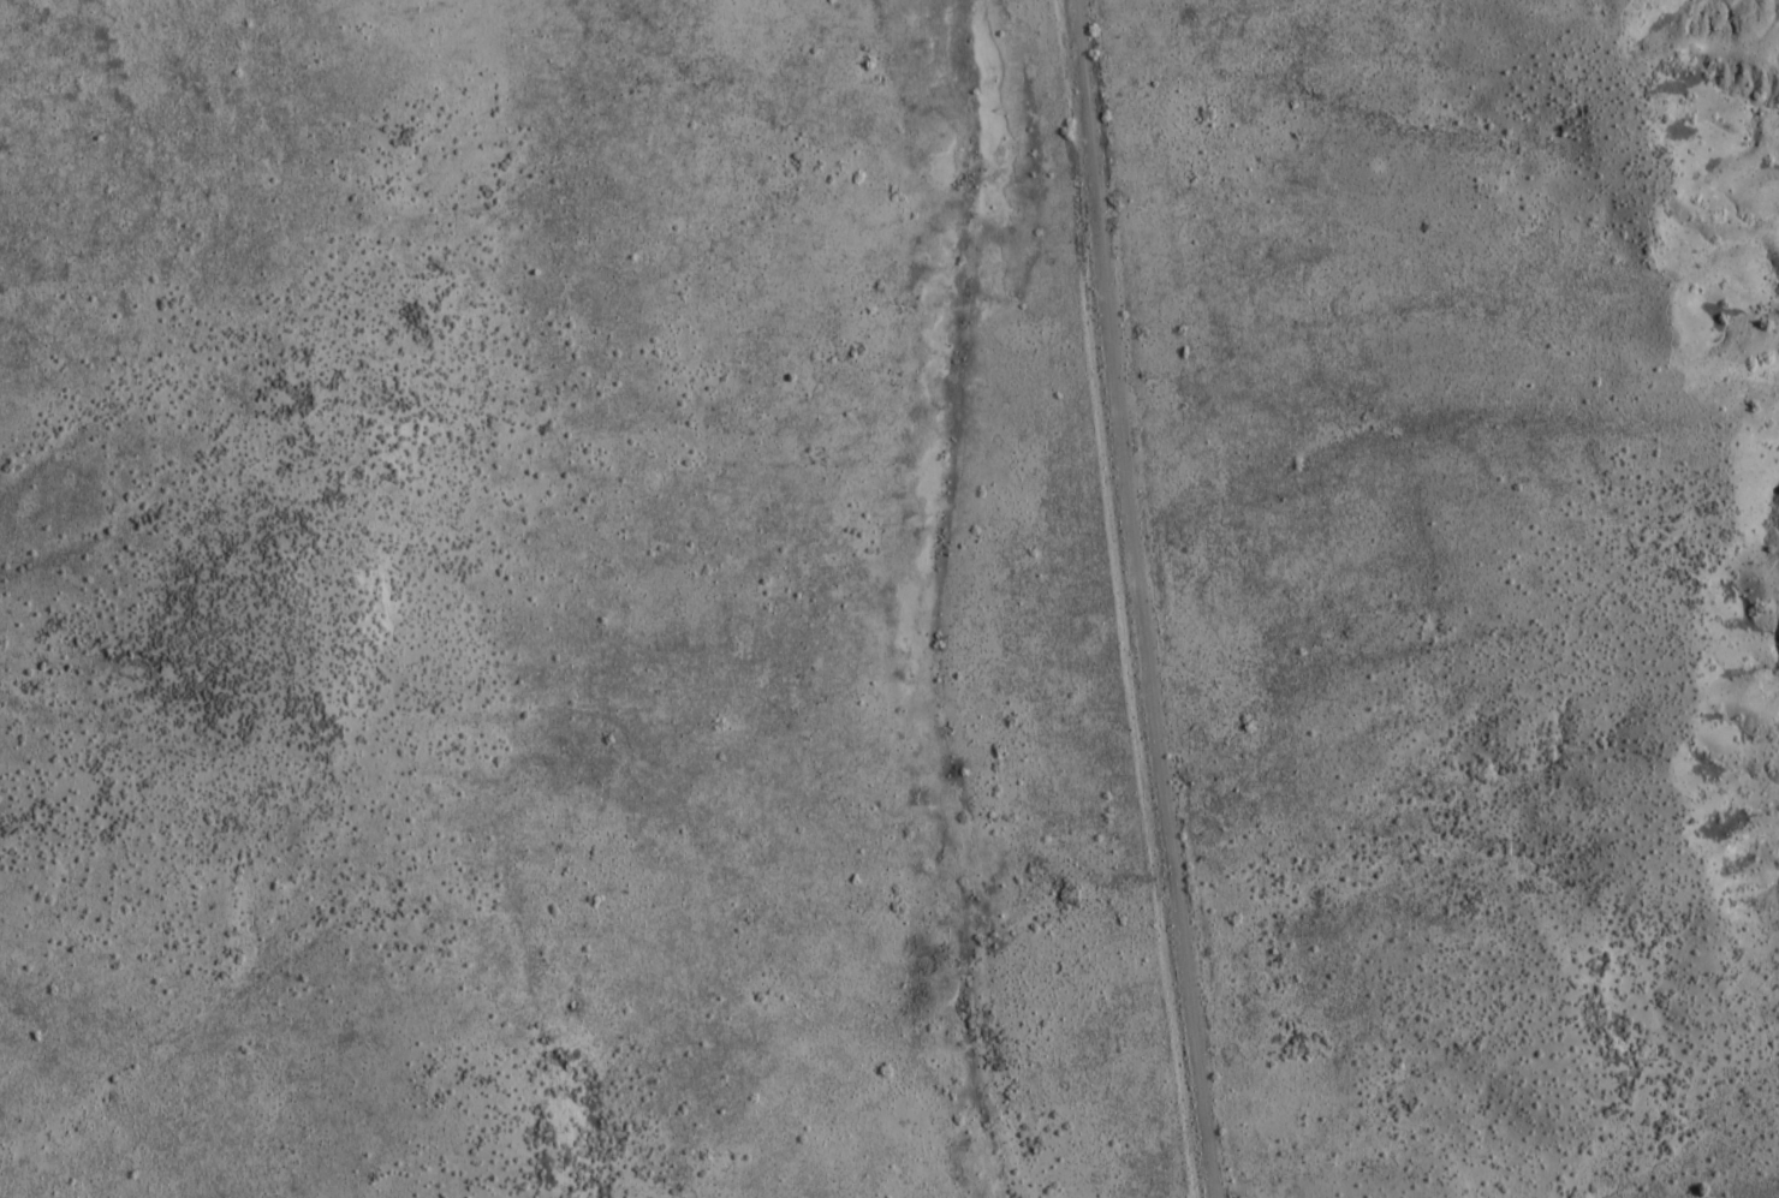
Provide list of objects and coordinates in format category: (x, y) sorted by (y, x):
road: (1672, 278)
road: (1754, 567)
road: (1138, 600)

